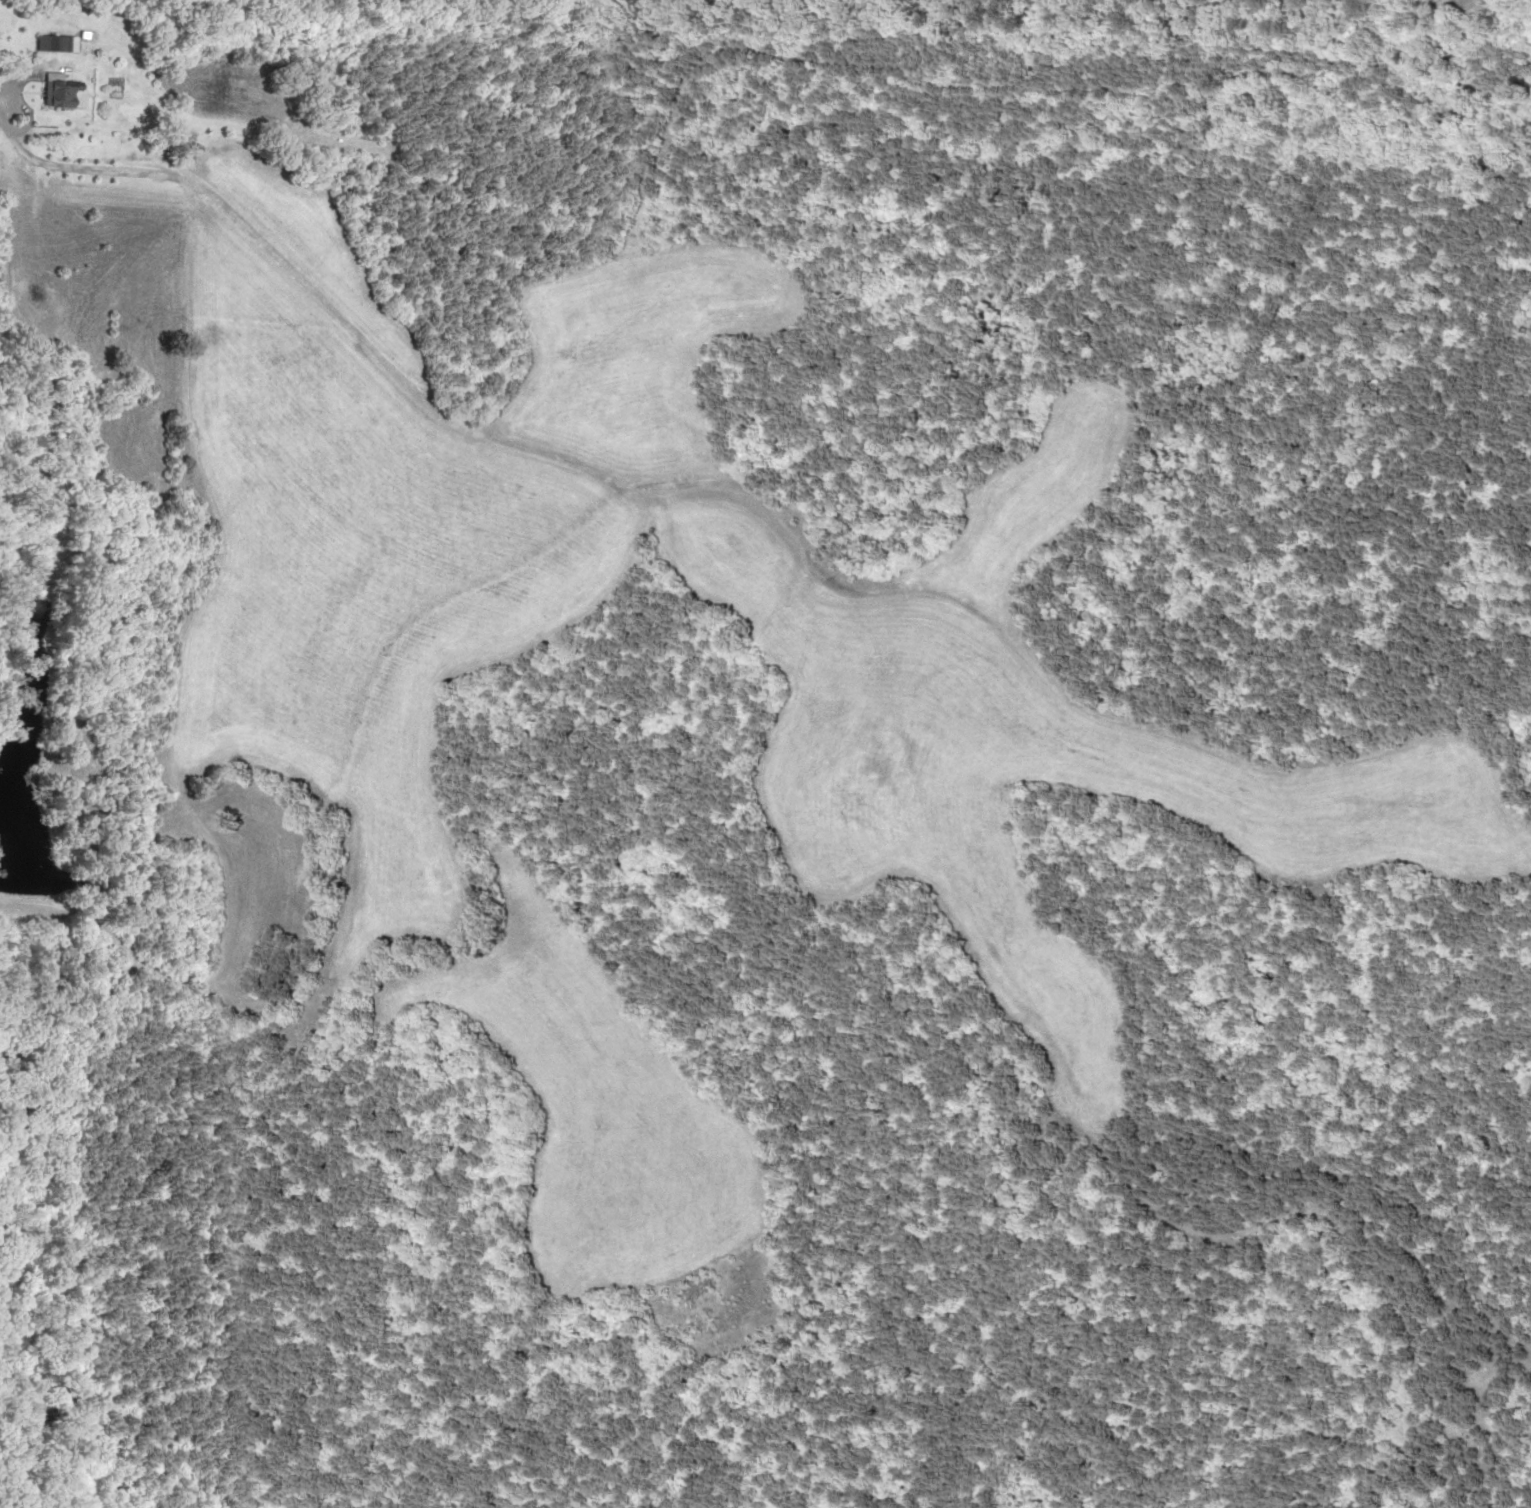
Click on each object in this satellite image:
building: (87, 35)
building: (56, 44)
building: (62, 96)

